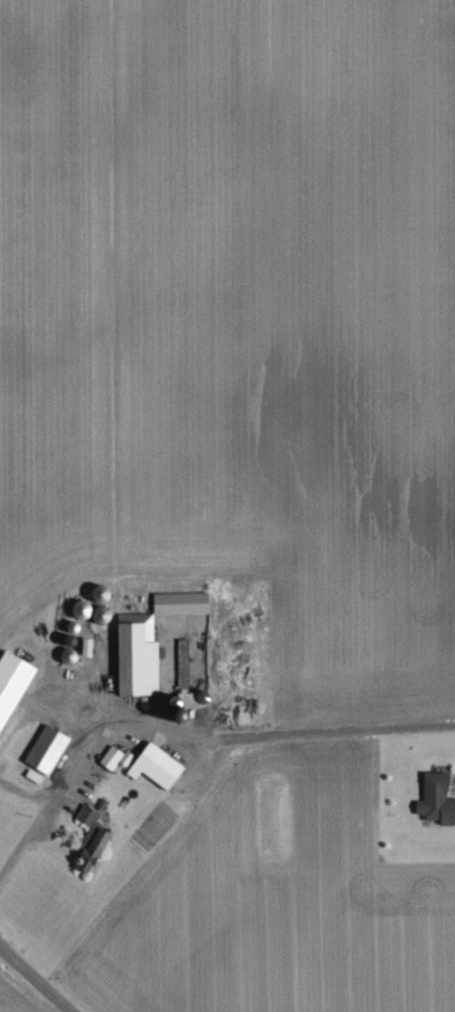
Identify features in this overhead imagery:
building: (180, 604)
building: (136, 654)
building: (182, 661)
building: (12, 682)
road: (235, 733)
building: (46, 749)
building: (114, 758)
building: (155, 767)
building: (436, 799)
road: (40, 819)
building: (90, 838)
road: (37, 976)

